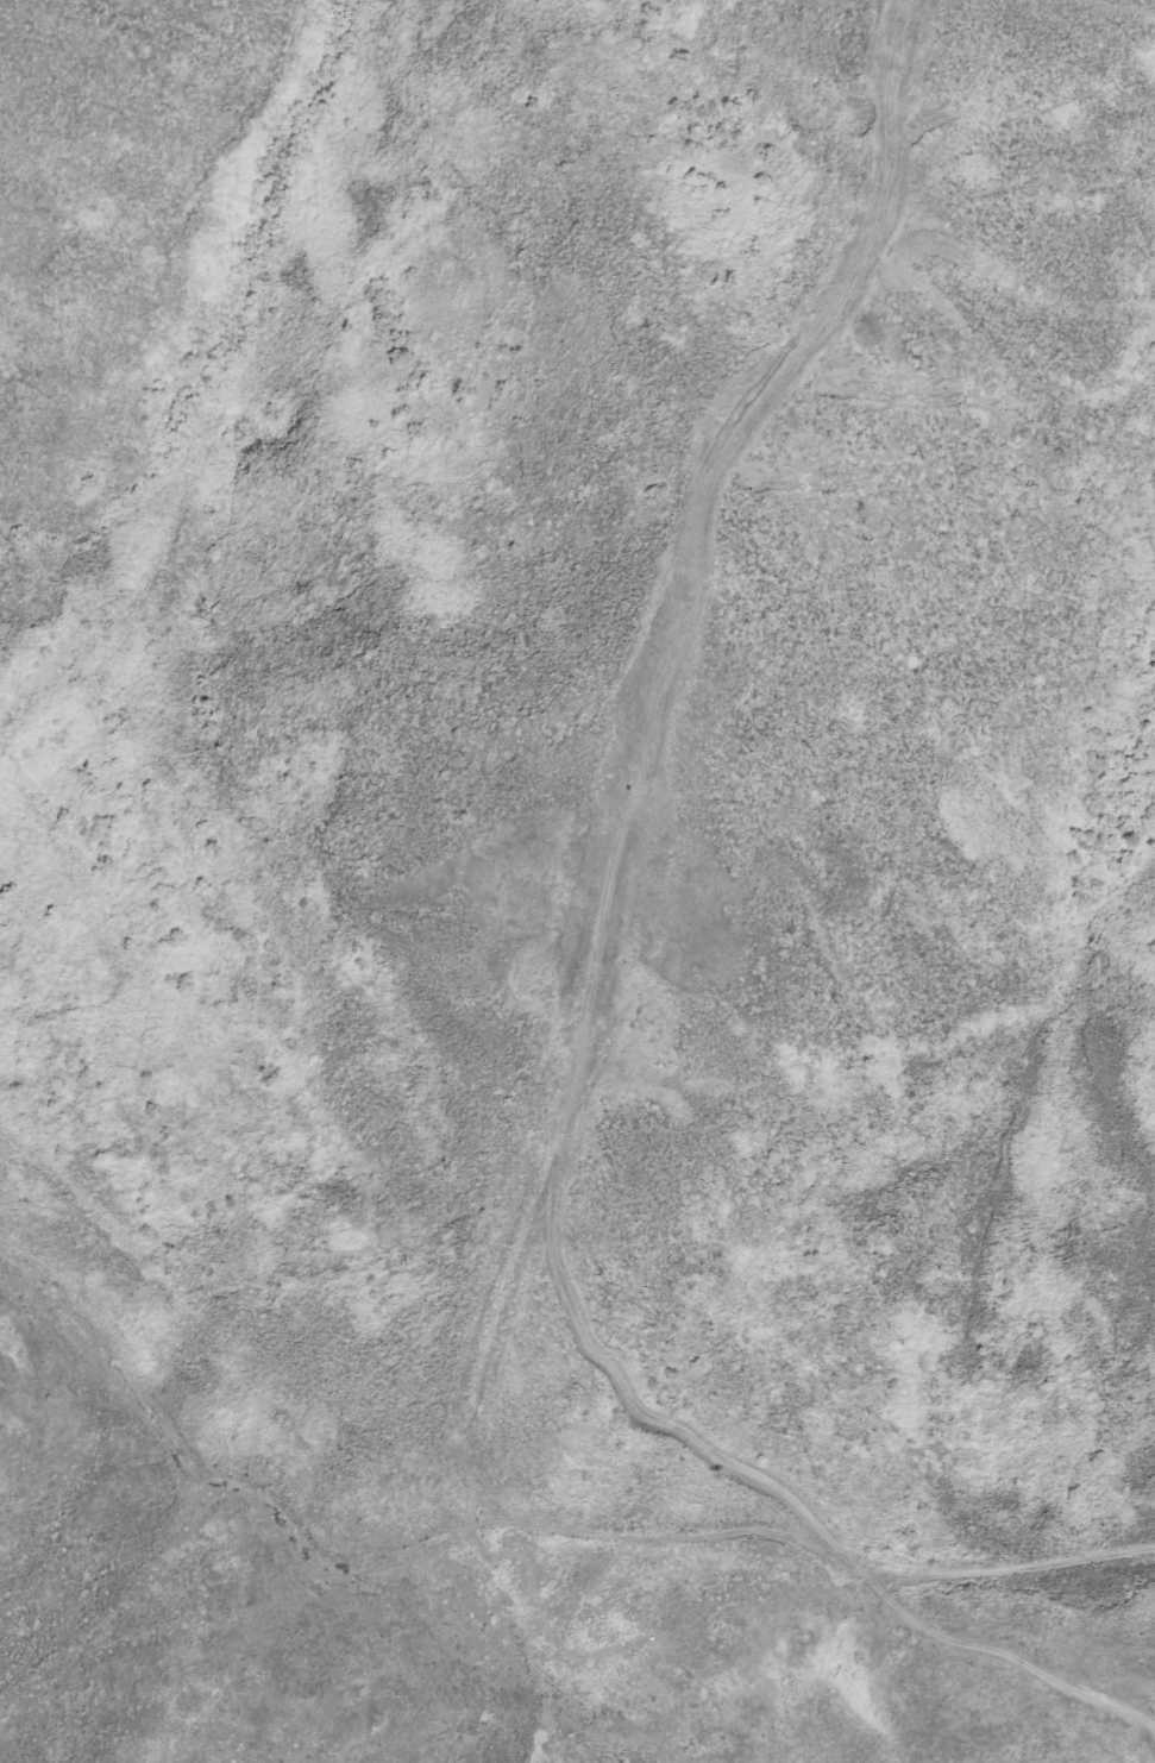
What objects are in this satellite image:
road: (509, 1537)
road: (1013, 1657)

